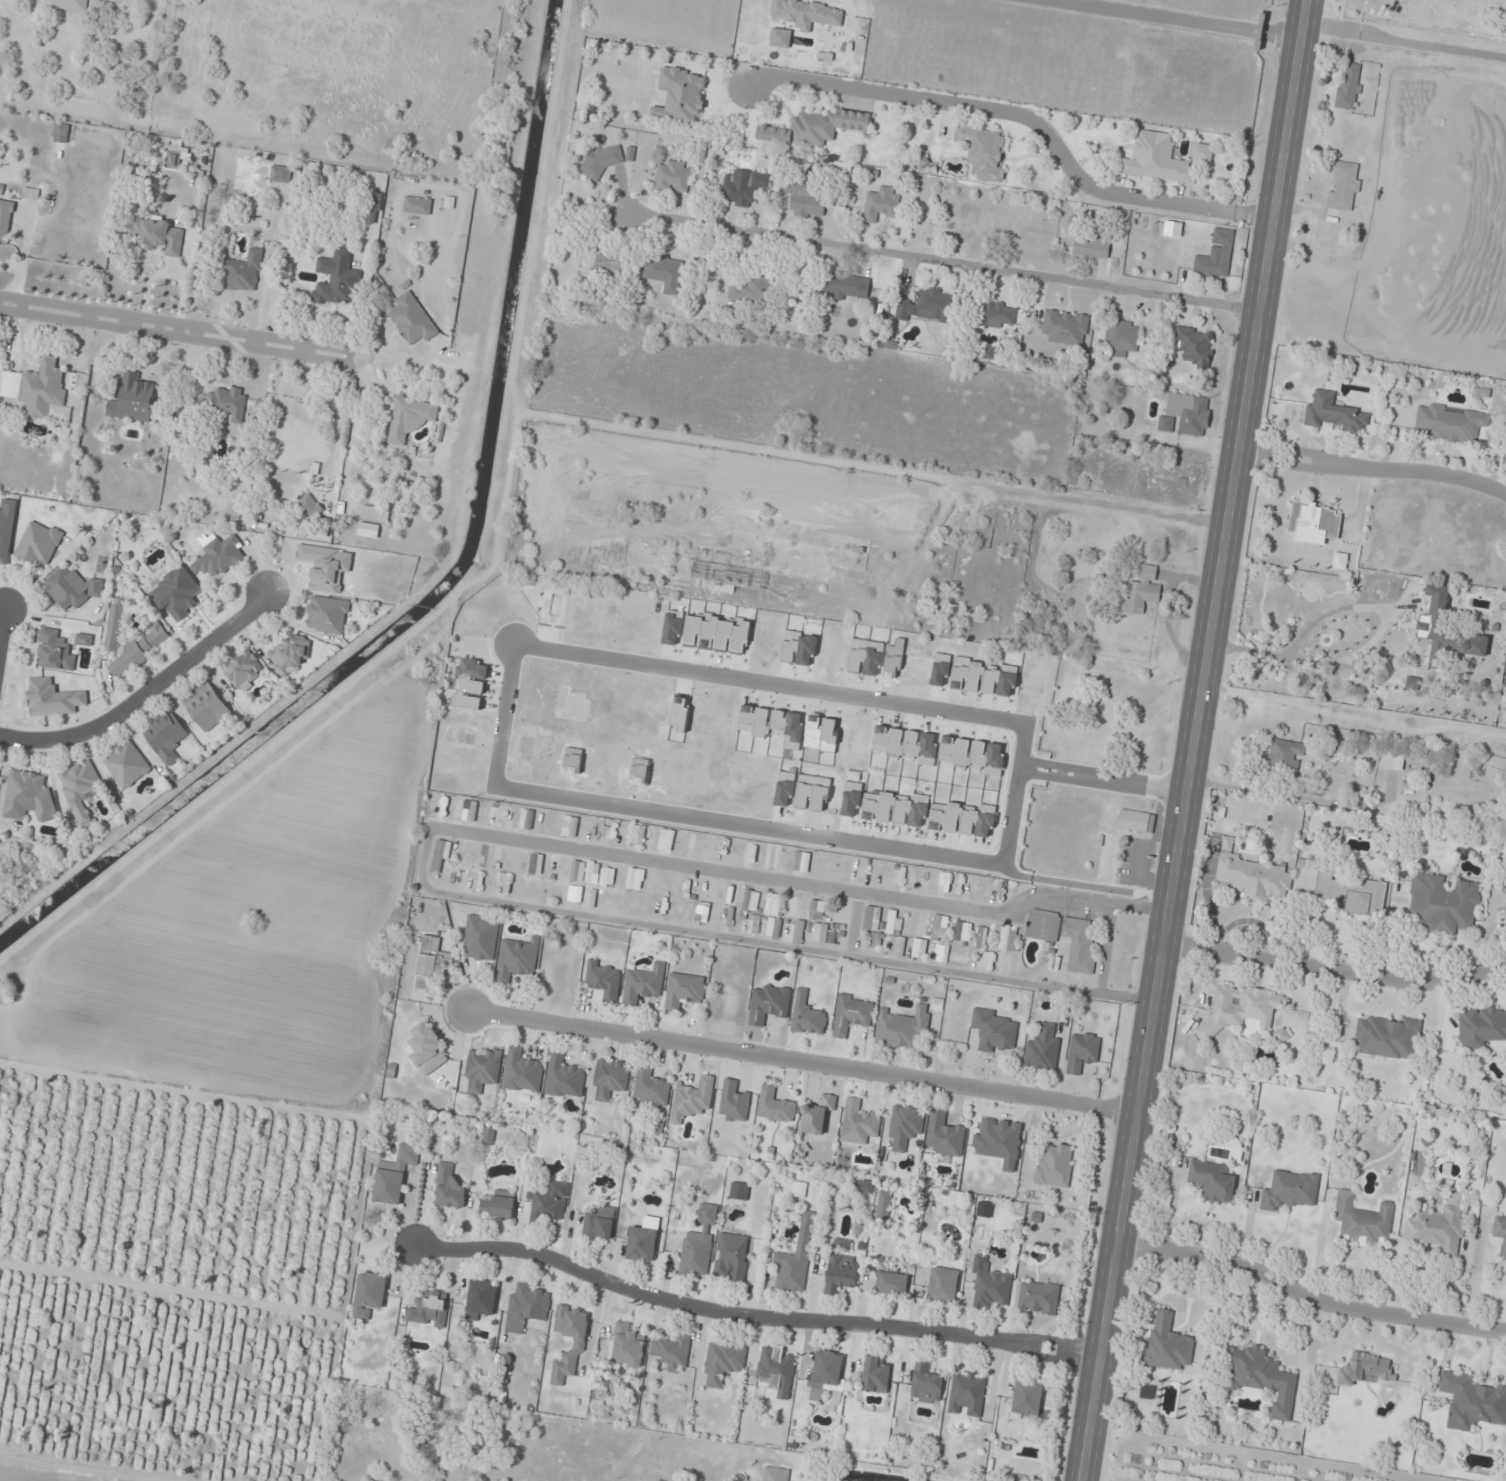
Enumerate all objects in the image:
building: (68, 5)
road: (1180, 18)
road: (20, 23)
road: (1403, 40)
building: (1349, 86)
road: (1025, 117)
building: (821, 126)
building: (61, 132)
building: (983, 151)
building: (1202, 152)
building: (176, 154)
building: (601, 159)
building: (1156, 159)
building: (280, 174)
building: (672, 176)
building: (1343, 186)
building: (743, 187)
building: (2, 188)
building: (30, 194)
building: (803, 196)
building: (881, 204)
building: (417, 205)
building: (6, 221)
building: (1173, 229)
building: (158, 235)
building: (1091, 248)
building: (1216, 255)
road: (941, 263)
building: (609, 268)
building: (243, 271)
building: (664, 272)
building: (337, 280)
building: (848, 287)
building: (751, 289)
building: (927, 306)
building: (996, 314)
building: (411, 319)
road: (180, 326)
building: (1065, 327)
building: (1121, 338)
building: (1195, 346)
building: (990, 353)
building: (36, 388)
building: (1480, 392)
building: (133, 399)
building: (228, 401)
building: (1335, 413)
building: (1186, 414)
building: (410, 418)
building: (1450, 423)
road: (1372, 470)
road: (1098, 505)
building: (311, 508)
building: (375, 513)
building: (1313, 520)
building: (6, 530)
building: (369, 530)
building: (39, 542)
building: (220, 557)
building: (1340, 560)
building: (724, 572)
building: (72, 588)
building: (1142, 591)
building: (176, 594)
building: (327, 614)
road: (2, 621)
building: (115, 624)
building: (1447, 633)
building: (140, 650)
building: (54, 651)
building: (292, 653)
road: (514, 662)
building: (242, 668)
road: (142, 690)
building: (52, 698)
building: (206, 706)
building: (165, 736)
road: (1194, 740)
building: (1043, 751)
building: (1285, 755)
building: (126, 764)
building: (80, 791)
building: (28, 795)
road: (1320, 797)
building: (443, 807)
building: (496, 813)
building: (526, 818)
building: (1134, 820)
building: (638, 835)
road: (423, 853)
building: (802, 861)
building: (844, 866)
building: (874, 871)
building: (1252, 874)
building: (899, 875)
building: (607, 877)
building: (945, 881)
road: (1085, 885)
building: (689, 887)
building: (1349, 893)
building: (751, 900)
building: (773, 904)
building: (1442, 904)
building: (794, 906)
building: (817, 910)
building: (872, 918)
road: (853, 923)
building: (1042, 925)
building: (774, 928)
building: (939, 928)
building: (817, 932)
building: (962, 932)
building: (895, 934)
building: (481, 937)
building: (981, 937)
building: (1007, 938)
building: (875, 940)
building: (1079, 943)
road: (1106, 948)
building: (517, 960)
building: (432, 962)
road: (1334, 967)
building: (603, 980)
building: (643, 982)
building: (683, 990)
building: (768, 1004)
building: (1241, 1007)
building: (852, 1015)
building: (807, 1016)
building: (902, 1026)
building: (1480, 1026)
building: (993, 1030)
building: (1388, 1037)
building: (427, 1048)
building: (1043, 1050)
building: (1082, 1053)
road: (800, 1061)
building: (482, 1069)
building: (522, 1071)
building: (564, 1077)
building: (610, 1079)
building: (651, 1088)
building: (692, 1098)
building: (733, 1103)
building: (775, 1105)
building: (817, 1115)
building: (858, 1122)
building: (905, 1126)
building: (945, 1135)
building: (488, 1136)
building: (1055, 1166)
building: (394, 1174)
building: (1212, 1181)
building: (449, 1186)
building: (863, 1186)
building: (799, 1189)
building: (1291, 1190)
building: (549, 1202)
building: (498, 1205)
building: (883, 1205)
building: (1363, 1220)
building: (598, 1224)
building: (1437, 1227)
building: (1500, 1233)
building: (643, 1240)
building: (699, 1244)
building: (731, 1257)
building: (796, 1258)
building: (841, 1272)
building: (891, 1284)
building: (943, 1284)
building: (990, 1286)
building: (369, 1294)
road: (1307, 1294)
building: (1038, 1297)
building: (481, 1299)
building: (525, 1306)
building: (429, 1309)
road: (750, 1320)
building: (578, 1343)
building: (1167, 1343)
building: (627, 1346)
building: (672, 1353)
building: (722, 1362)
building: (1365, 1368)
building: (776, 1369)
building: (826, 1373)
building: (876, 1375)
building: (1262, 1377)
building: (926, 1385)
building: (967, 1394)
building: (1027, 1398)
building: (1472, 1401)
road: (1261, 1454)
building: (776, 1474)

